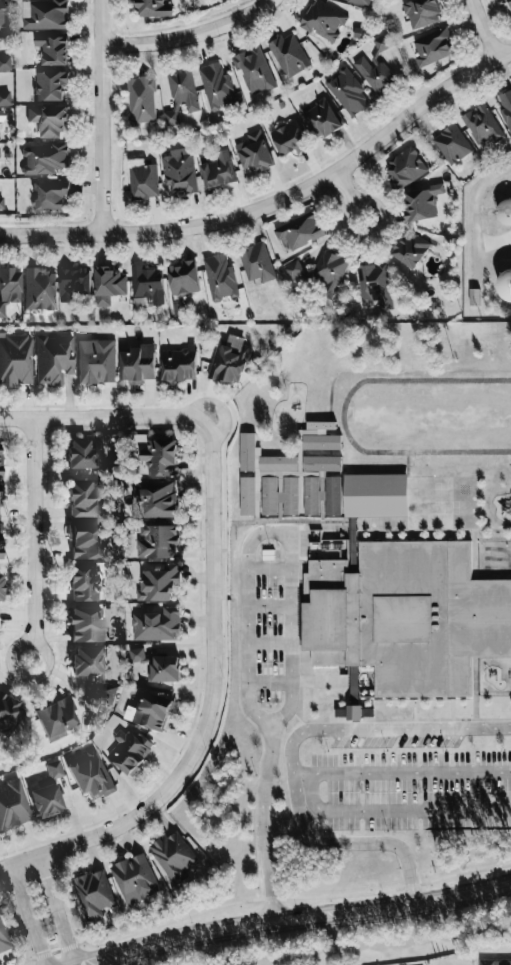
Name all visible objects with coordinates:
building: (359, 2)
building: (152, 8)
building: (422, 13)
building: (45, 15)
building: (2, 17)
building: (323, 21)
road: (483, 29)
road: (188, 34)
building: (381, 43)
building: (433, 47)
building: (53, 49)
building: (288, 54)
building: (5, 62)
building: (253, 70)
building: (375, 76)
building: (50, 85)
building: (216, 87)
building: (347, 91)
building: (181, 96)
building: (5, 98)
building: (141, 100)
building: (1, 115)
road: (100, 117)
building: (322, 119)
building: (49, 120)
building: (482, 126)
building: (289, 138)
building: (452, 144)
building: (254, 152)
building: (45, 159)
building: (405, 169)
building: (217, 170)
building: (179, 171)
building: (143, 179)
building: (50, 195)
road: (349, 195)
building: (1, 202)
road: (275, 202)
building: (422, 203)
road: (473, 209)
building: (299, 232)
building: (411, 249)
building: (257, 264)
building: (330, 271)
building: (295, 272)
building: (183, 278)
building: (220, 278)
building: (74, 283)
building: (147, 284)
building: (505, 284)
building: (108, 285)
building: (375, 286)
building: (9, 287)
building: (40, 289)
building: (54, 358)
building: (16, 359)
building: (96, 361)
building: (230, 361)
building: (137, 364)
building: (178, 365)
road: (102, 416)
building: (247, 452)
building: (82, 454)
building: (160, 457)
building: (0, 460)
building: (299, 461)
building: (321, 463)
building: (278, 464)
building: (1, 491)
building: (375, 495)
building: (247, 496)
building: (279, 496)
building: (311, 496)
building: (332, 496)
building: (86, 499)
building: (155, 501)
road: (268, 529)
building: (352, 533)
road: (35, 539)
building: (86, 540)
building: (157, 542)
building: (0, 546)
road: (269, 568)
building: (84, 582)
building: (159, 583)
building: (1, 587)
road: (269, 608)
building: (405, 621)
building: (87, 624)
building: (157, 625)
road: (269, 644)
building: (137, 655)
building: (165, 669)
building: (94, 670)
road: (269, 682)
road: (209, 704)
building: (153, 711)
building: (9, 713)
building: (354, 713)
building: (57, 717)
building: (129, 751)
road: (290, 755)
building: (55, 769)
road: (402, 771)
building: (91, 775)
building: (47, 801)
building: (13, 806)
road: (395, 810)
road: (264, 827)
building: (175, 856)
building: (135, 879)
building: (95, 894)
road: (261, 897)
road: (58, 910)
road: (25, 915)
road: (295, 918)
building: (3, 939)
building: (487, 962)
park: (139, 964)

